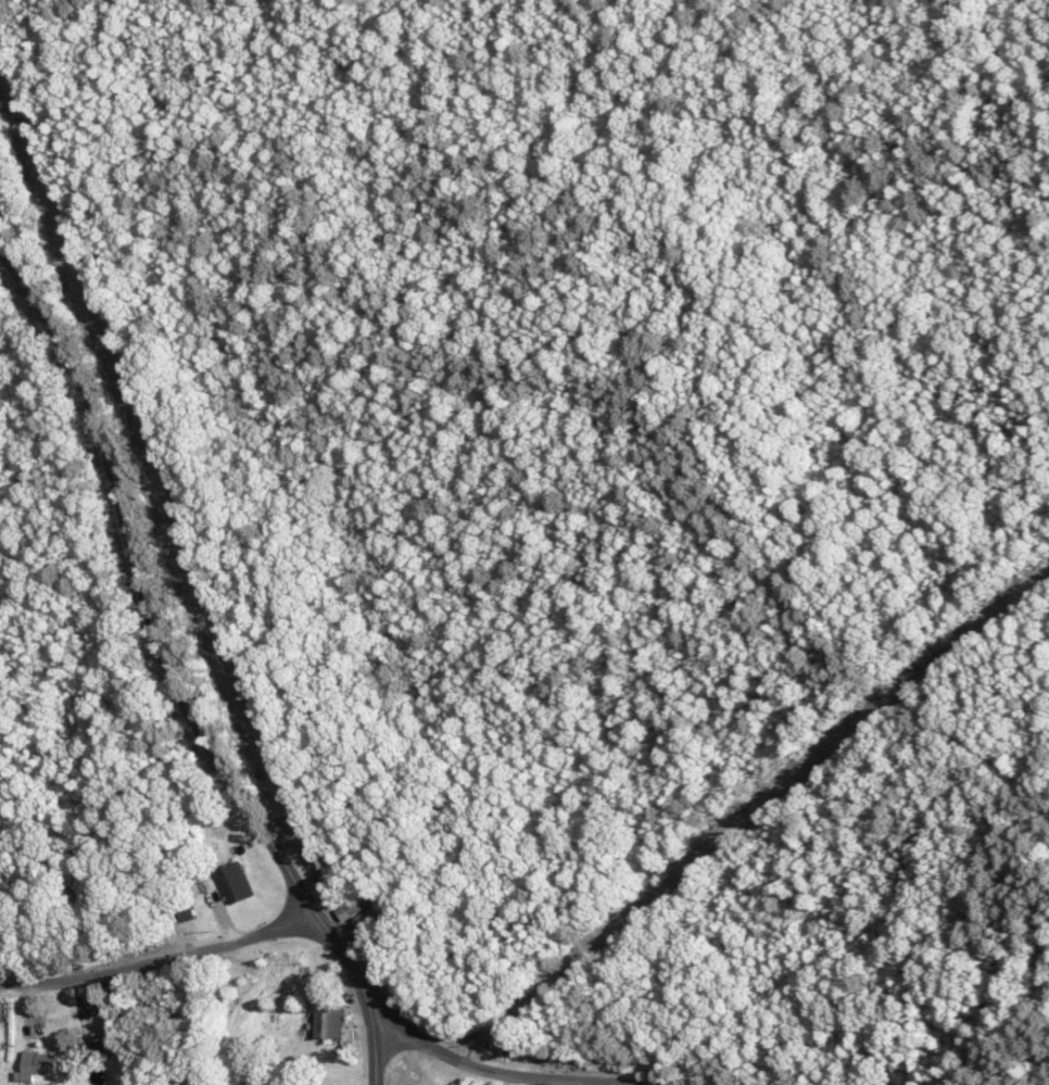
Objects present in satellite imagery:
road: (169, 678)
building: (233, 881)
building: (357, 903)
building: (367, 922)
road: (157, 960)
building: (329, 1021)
building: (0, 1049)
building: (91, 1049)
building: (36, 1063)
road: (491, 1069)

